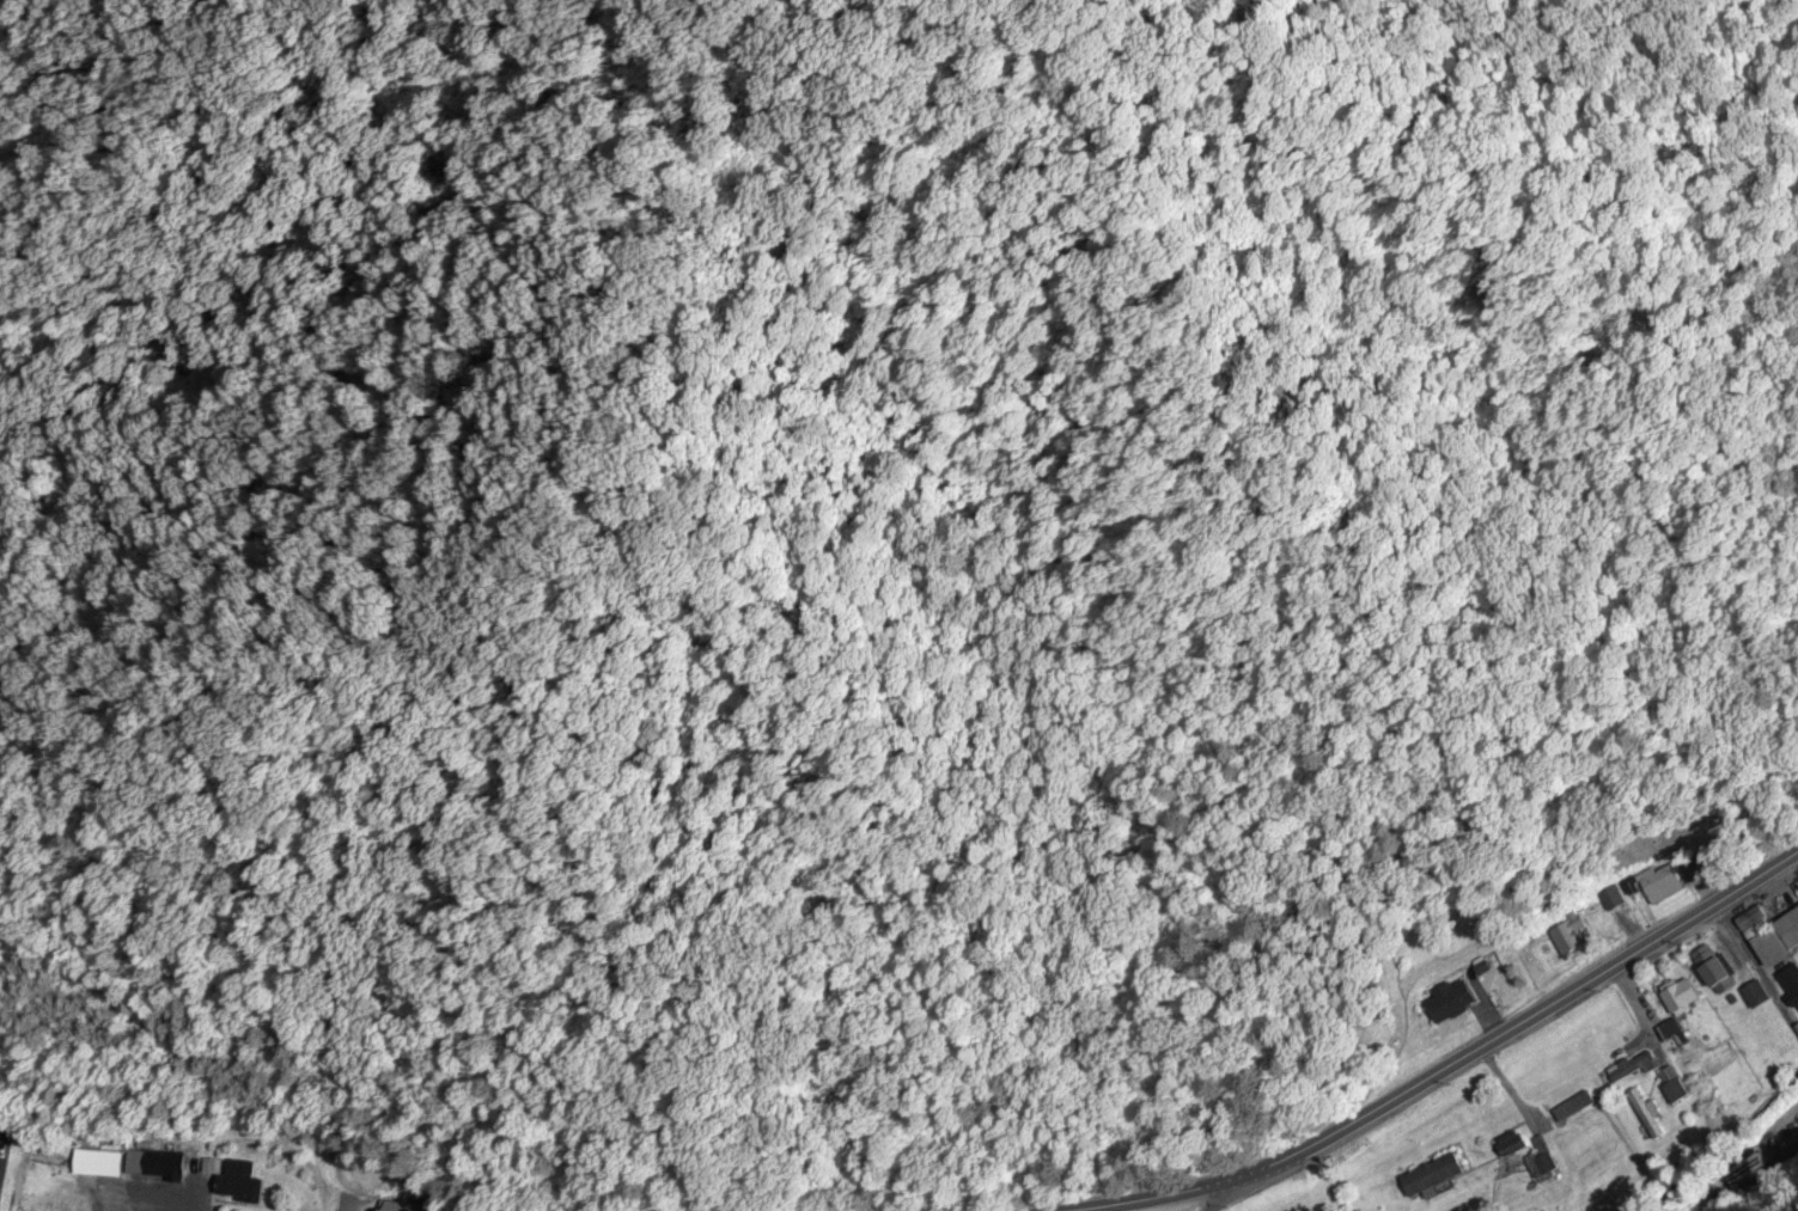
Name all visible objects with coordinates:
building: (1692, 873)
building: (1662, 886)
building: (1753, 921)
building: (1568, 936)
building: (1776, 940)
building: (1713, 970)
building: (1791, 980)
building: (1680, 997)
building: (1451, 1001)
building: (1666, 1032)
road: (1459, 1064)
building: (1633, 1068)
building: (1671, 1085)
building: (1573, 1107)
building: (1645, 1115)
building: (5, 1127)
road: (1779, 1127)
building: (1524, 1155)
building: (163, 1164)
building: (1432, 1175)
building: (239, 1182)
road: (1219, 1197)
building: (402, 1207)

